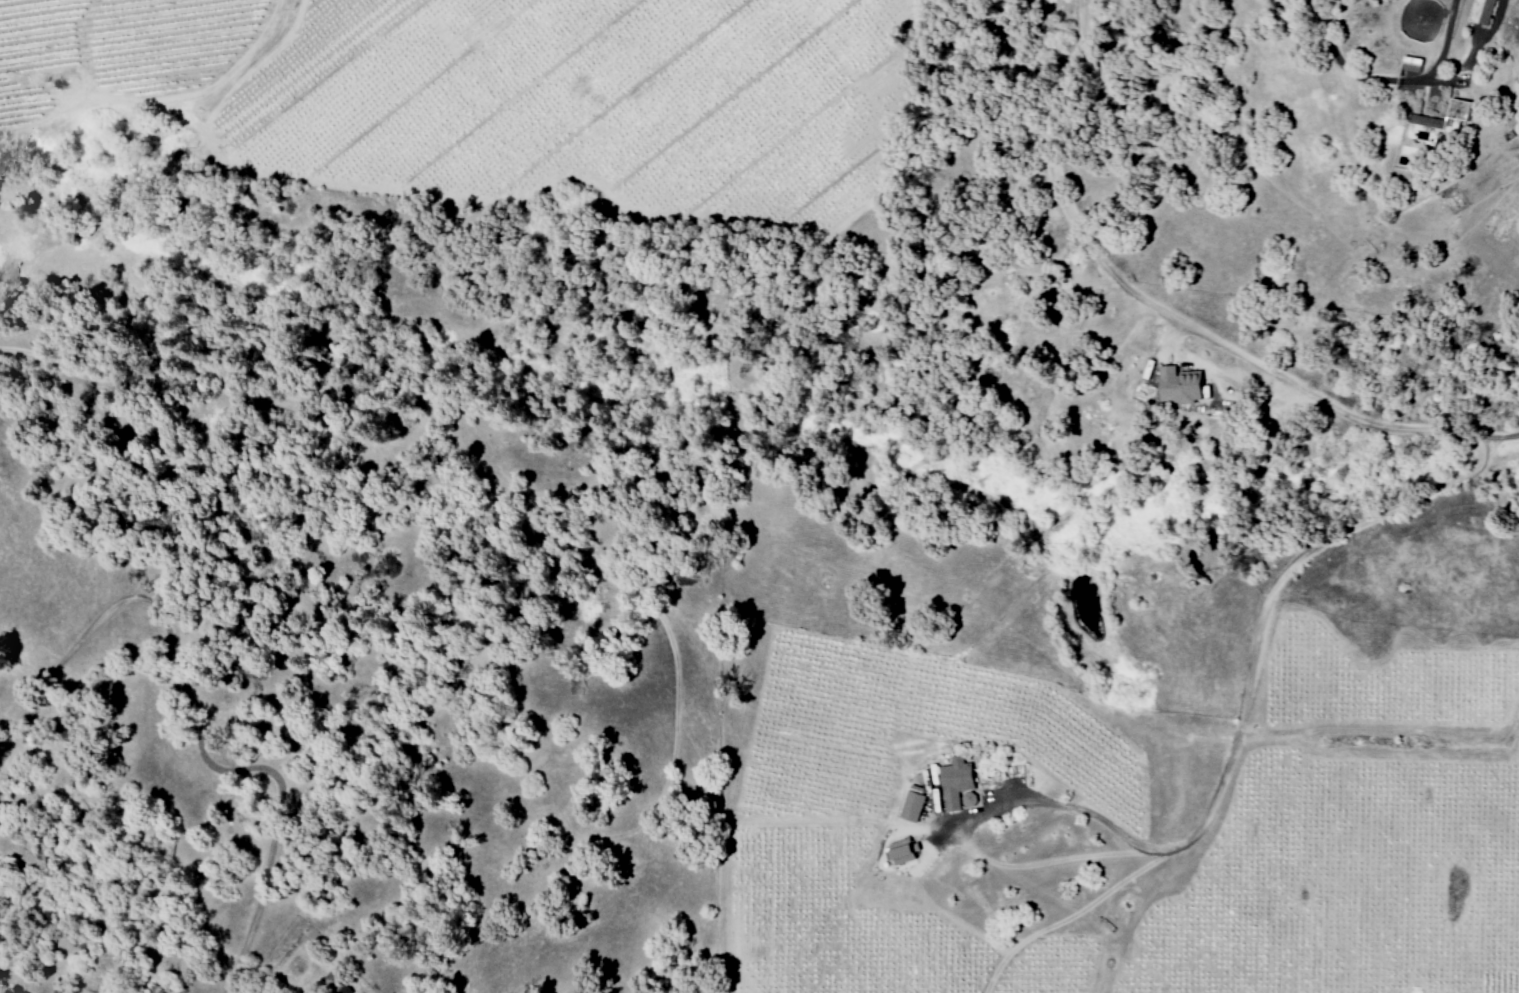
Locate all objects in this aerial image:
building: (1484, 12)
road: (1445, 45)
road: (1467, 55)
road: (1345, 71)
building: (1441, 123)
building: (1183, 386)
road: (1497, 436)
road: (1459, 478)
building: (957, 782)
building: (914, 806)
road: (1103, 821)
building: (904, 851)
road: (1242, 928)
road: (1434, 968)

